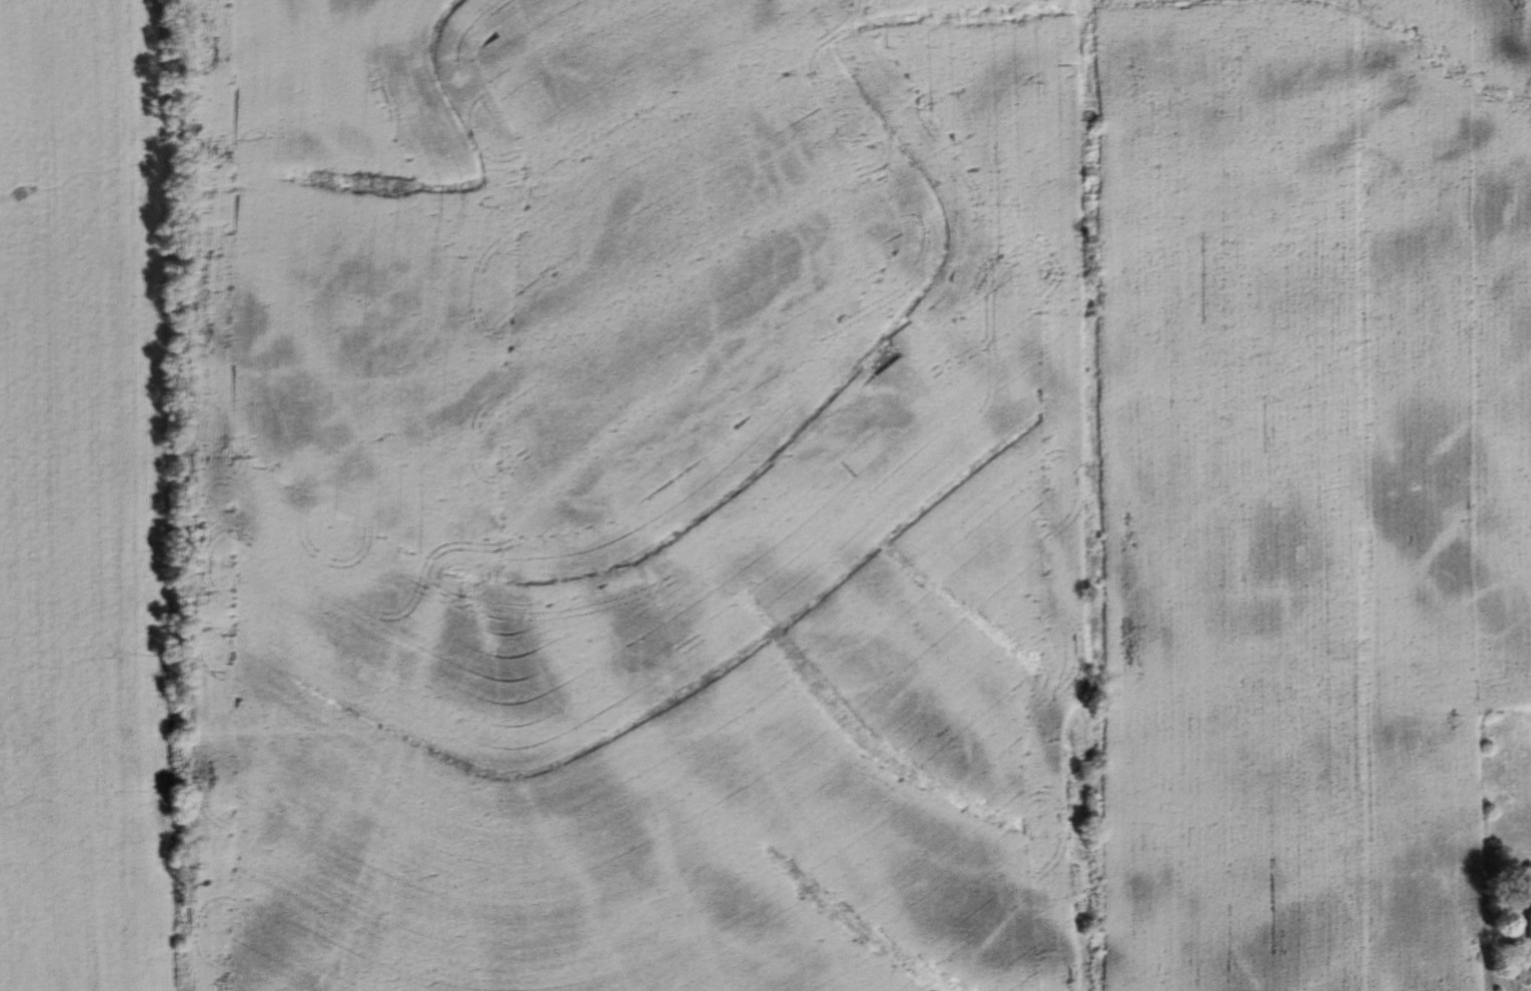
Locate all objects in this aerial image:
building: (1526, 940)

